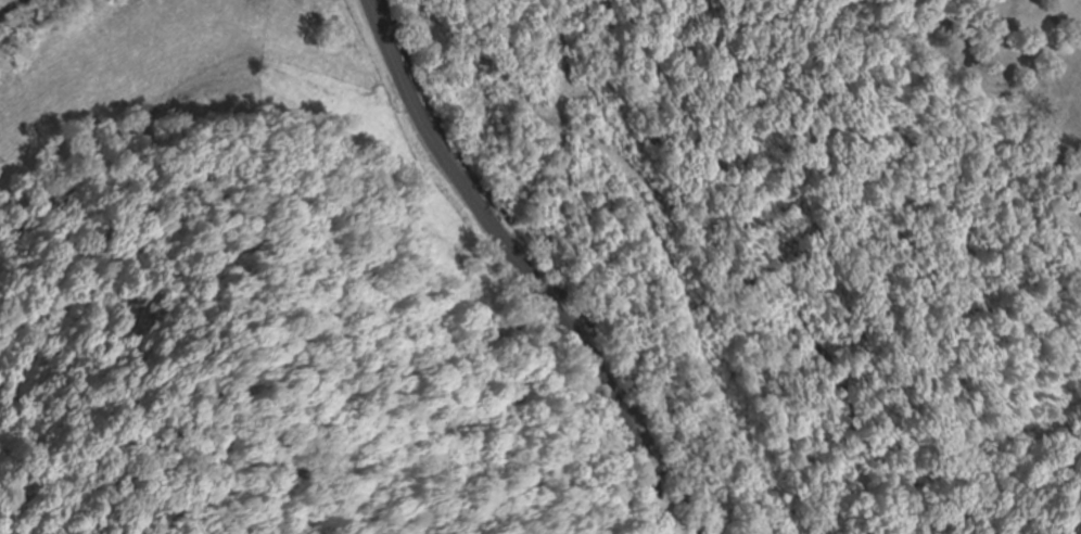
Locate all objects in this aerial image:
road: (12, 7)
road: (497, 272)

